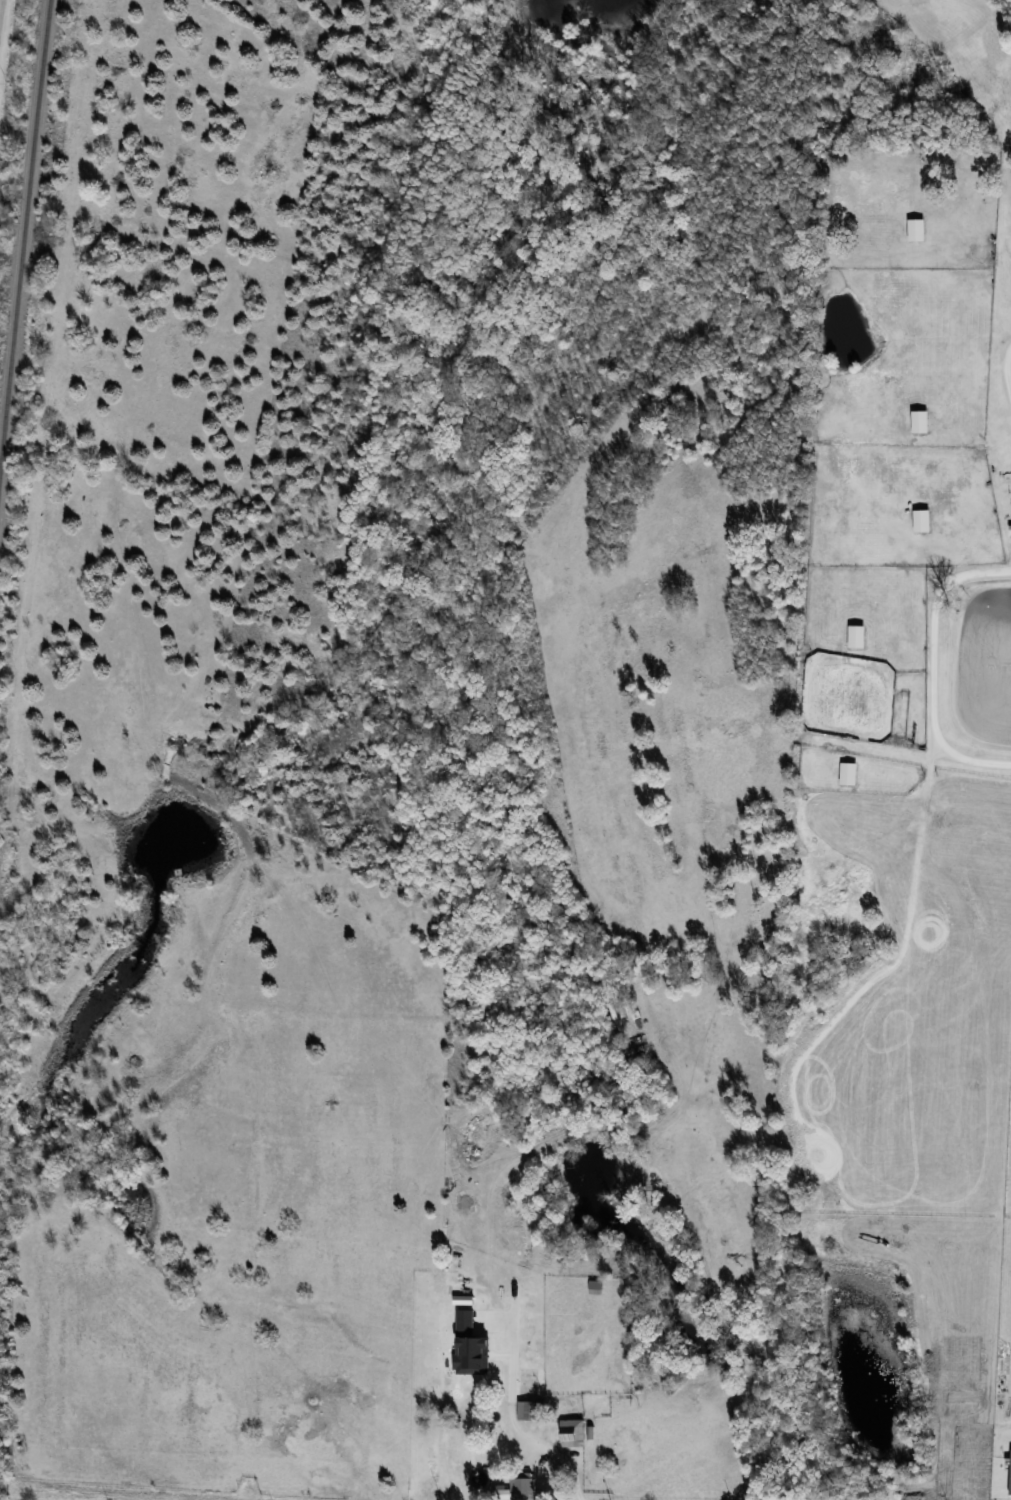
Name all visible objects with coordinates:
railway: (23, 228)
building: (917, 230)
road: (1008, 370)
building: (920, 421)
building: (922, 520)
building: (857, 636)
road: (937, 671)
building: (849, 772)
building: (595, 1287)
building: (457, 1373)
building: (531, 1411)
building: (573, 1433)
building: (522, 1488)

